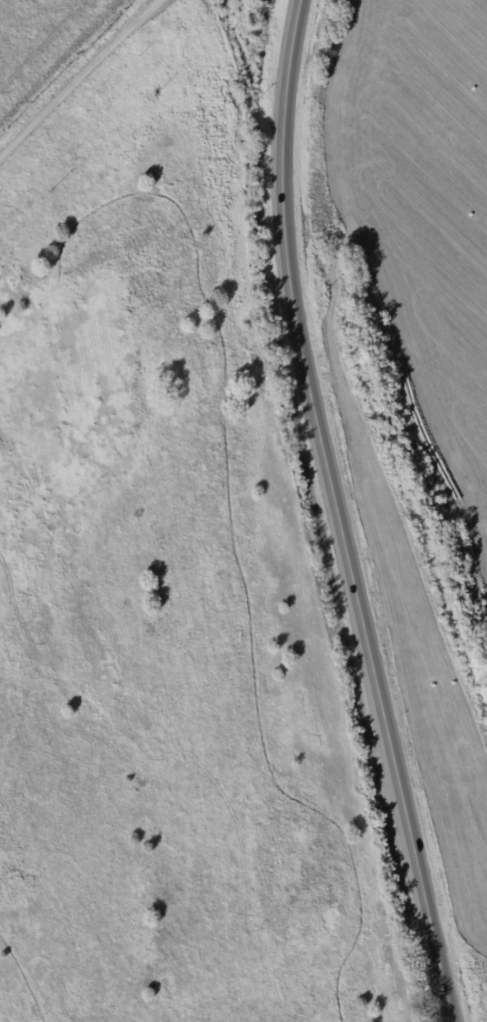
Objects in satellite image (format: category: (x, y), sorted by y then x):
road: (78, 79)
road: (336, 514)
airport: (163, 562)

